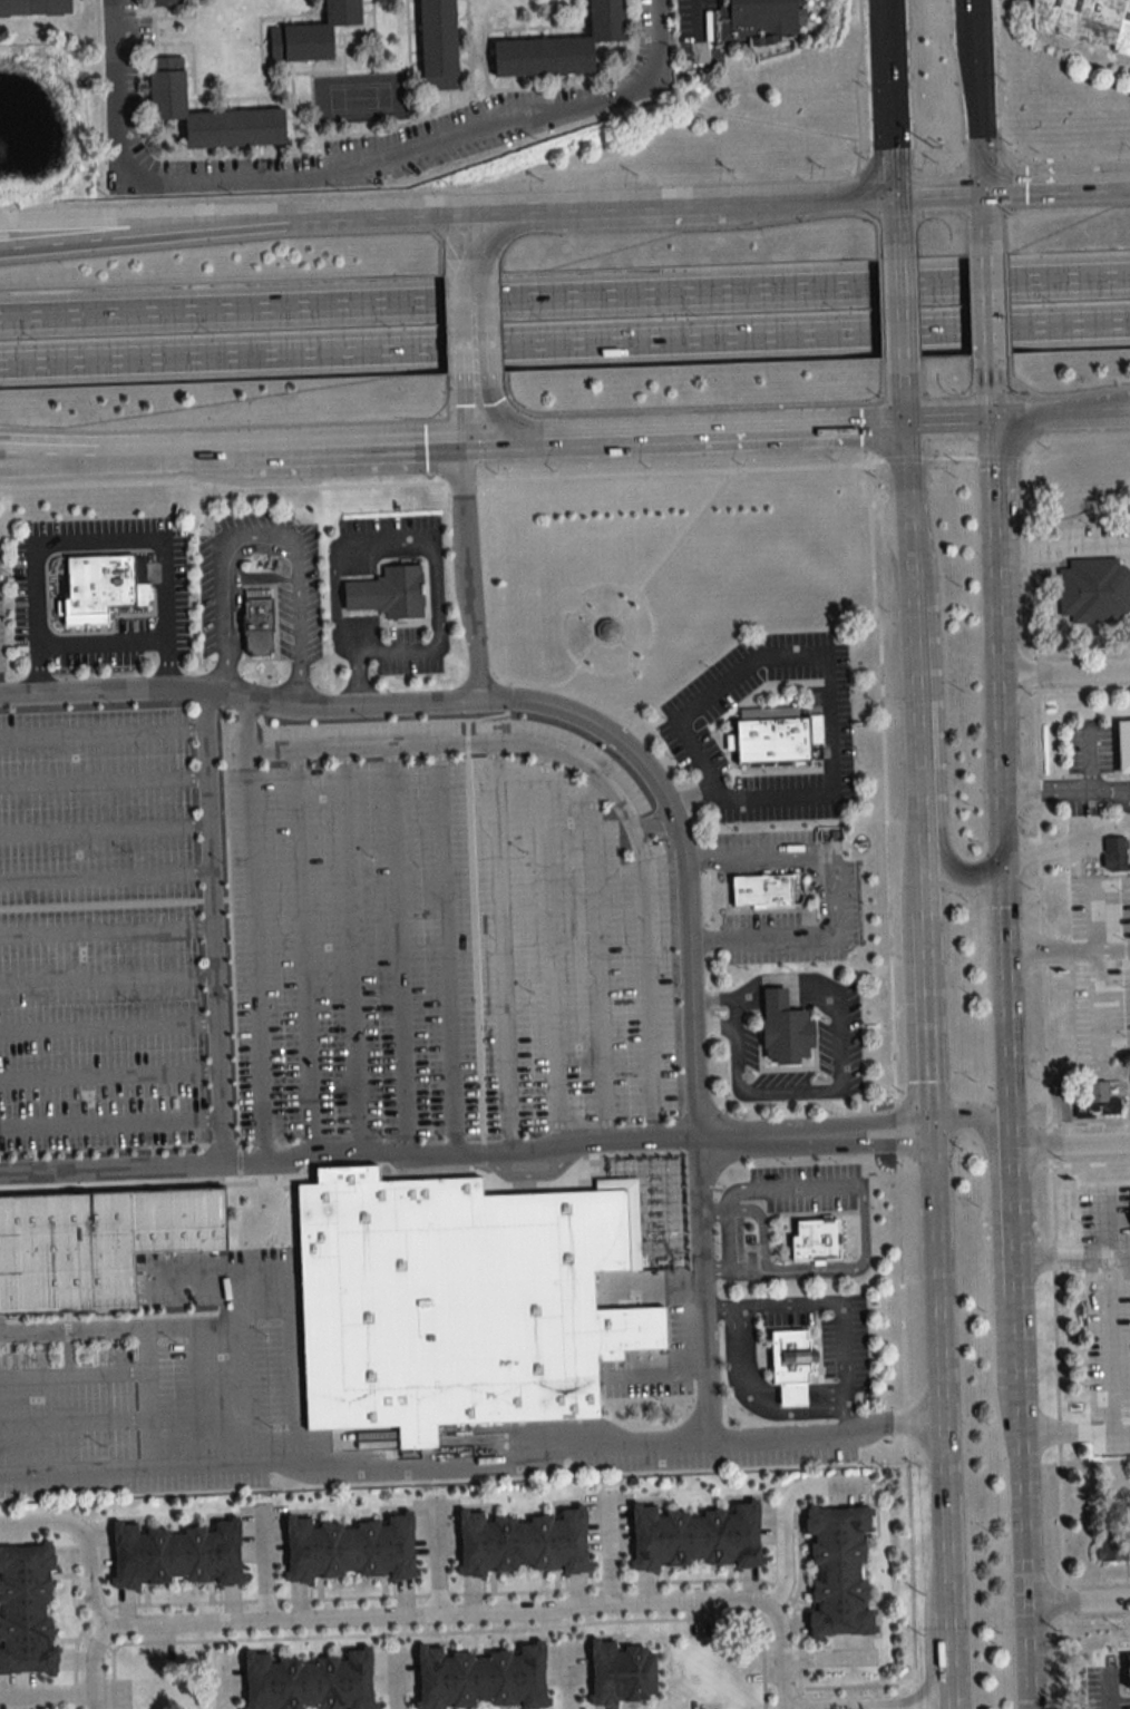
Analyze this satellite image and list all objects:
building: (165, 1)
road: (366, 1)
road: (318, 2)
building: (33, 6)
road: (179, 9)
road: (164, 10)
road: (366, 10)
road: (319, 13)
road: (699, 13)
road: (179, 16)
road: (578, 16)
road: (460, 17)
road: (629, 17)
road: (309, 18)
road: (288, 19)
road: (412, 19)
road: (584, 19)
building: (754, 19)
road: (280, 20)
building: (1082, 22)
road: (461, 28)
road: (413, 29)
road: (500, 29)
road: (569, 29)
road: (549, 30)
road: (538, 31)
building: (311, 32)
road: (337, 32)
road: (507, 32)
road: (517, 32)
road: (654, 33)
road: (175, 41)
road: (957, 41)
building: (437, 42)
road: (264, 43)
building: (559, 43)
road: (338, 46)
road: (163, 48)
road: (461, 49)
road: (468, 49)
road: (413, 50)
road: (489, 57)
road: (616, 57)
road: (462, 59)
road: (408, 60)
road: (415, 60)
road: (602, 60)
road: (311, 65)
road: (188, 66)
road: (290, 72)
road: (188, 74)
road: (143, 76)
road: (572, 77)
road: (582, 77)
road: (551, 78)
road: (509, 80)
road: (519, 80)
road: (854, 84)
road: (981, 94)
road: (189, 95)
road: (894, 95)
road: (145, 96)
road: (243, 96)
park: (360, 96)
road: (449, 96)
road: (257, 100)
road: (267, 100)
road: (236, 101)
road: (423, 101)
road: (205, 102)
road: (225, 102)
road: (291, 106)
building: (208, 110)
road: (767, 121)
road: (289, 124)
road: (358, 133)
road: (163, 137)
road: (177, 137)
road: (260, 148)
road: (270, 148)
road: (227, 149)
road: (240, 149)
road: (197, 150)
road: (207, 150)
road: (319, 172)
road: (1058, 184)
traffic signals: (985, 188)
road: (939, 189)
traffic signals: (895, 191)
road: (538, 205)
road: (90, 219)
road: (986, 221)
road: (896, 225)
road: (512, 230)
road: (91, 238)
road: (1070, 280)
road: (504, 300)
road: (991, 306)
road: (899, 311)
road: (474, 331)
road: (565, 348)
road: (994, 388)
road: (902, 391)
road: (478, 409)
road: (1063, 412)
traffic signals: (996, 417)
road: (949, 418)
traffic signals: (903, 420)
road: (691, 429)
road: (368, 441)
road: (92, 442)
road: (221, 445)
road: (92, 448)
road: (364, 487)
road: (997, 494)
road: (261, 534)
road: (98, 538)
road: (1064, 549)
road: (469, 568)
road: (233, 577)
building: (104, 583)
building: (1092, 592)
building: (390, 593)
road: (357, 595)
road: (632, 595)
road: (587, 615)
road: (438, 619)
road: (595, 621)
building: (261, 627)
building: (604, 631)
road: (101, 643)
road: (625, 645)
road: (828, 668)
road: (1064, 672)
road: (913, 674)
road: (218, 676)
road: (298, 686)
road: (103, 731)
building: (775, 739)
building: (1122, 748)
road: (1088, 756)
road: (1035, 764)
road: (937, 774)
road: (650, 777)
road: (104, 781)
road: (606, 783)
road: (1045, 790)
road: (1109, 790)
road: (689, 795)
road: (1118, 800)
road: (105, 826)
traffic signals: (1004, 834)
road: (1073, 848)
building: (1113, 854)
road: (704, 859)
road: (106, 879)
building: (760, 892)
road: (831, 896)
road: (213, 929)
road: (107, 932)
road: (255, 932)
road: (709, 940)
road: (498, 948)
road: (552, 948)
road: (448, 949)
road: (1069, 950)
road: (400, 951)
road: (354, 954)
road: (304, 955)
road: (601, 959)
road: (1097, 966)
road: (108, 979)
road: (793, 979)
road: (788, 996)
road: (713, 999)
road: (736, 1010)
road: (714, 1023)
road: (108, 1027)
building: (786, 1028)
road: (926, 1032)
road: (109, 1073)
road: (892, 1085)
road: (796, 1091)
building: (1097, 1093)
road: (812, 1122)
road: (110, 1123)
traffic signals: (931, 1135)
road: (1012, 1141)
road: (1071, 1148)
road: (814, 1150)
road: (349, 1161)
road: (861, 1204)
road: (712, 1205)
road: (739, 1205)
road: (994, 1223)
road: (760, 1236)
building: (821, 1238)
building: (97, 1242)
road: (1005, 1261)
road: (1119, 1261)
road: (732, 1270)
road: (234, 1296)
road: (285, 1302)
building: (457, 1303)
road: (840, 1305)
road: (189, 1324)
road: (1110, 1347)
building: (795, 1366)
road: (72, 1377)
road: (937, 1383)
road: (760, 1390)
road: (147, 1398)
road: (752, 1398)
road: (74, 1424)
road: (1121, 1429)
road: (471, 1456)
road: (782, 1511)
building: (695, 1534)
road: (85, 1540)
building: (522, 1542)
road: (611, 1545)
building: (349, 1546)
building: (1111, 1550)
building: (176, 1553)
road: (438, 1556)
road: (263, 1565)
building: (838, 1569)
road: (1078, 1603)
building: (27, 1608)
road: (452, 1612)
road: (947, 1664)
building: (620, 1673)
building: (481, 1678)
building: (309, 1681)
road: (392, 1681)
road: (223, 1686)
road: (47, 1692)
road: (866, 1700)
road: (948, 1705)
road: (1107, 1705)

